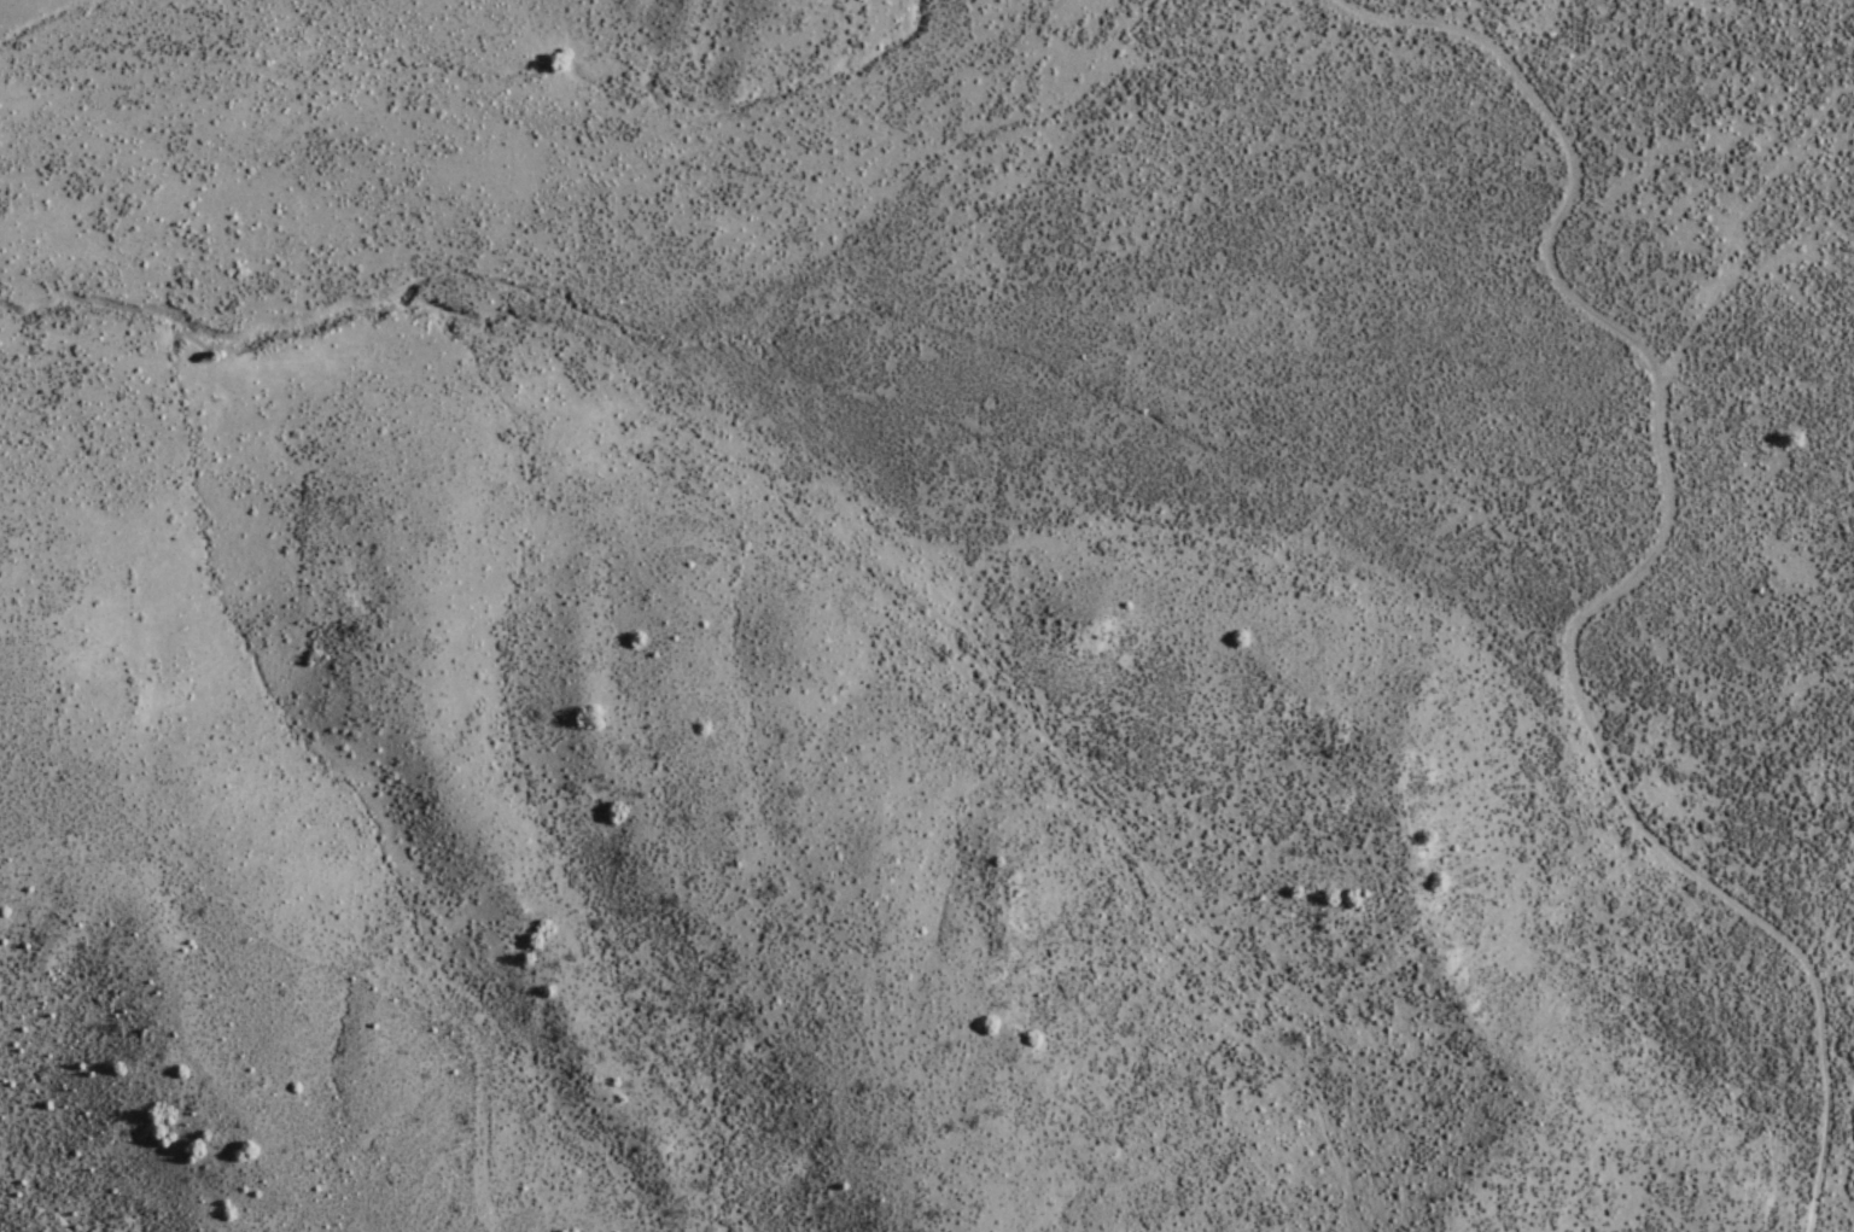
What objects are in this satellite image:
road: (1623, 578)

